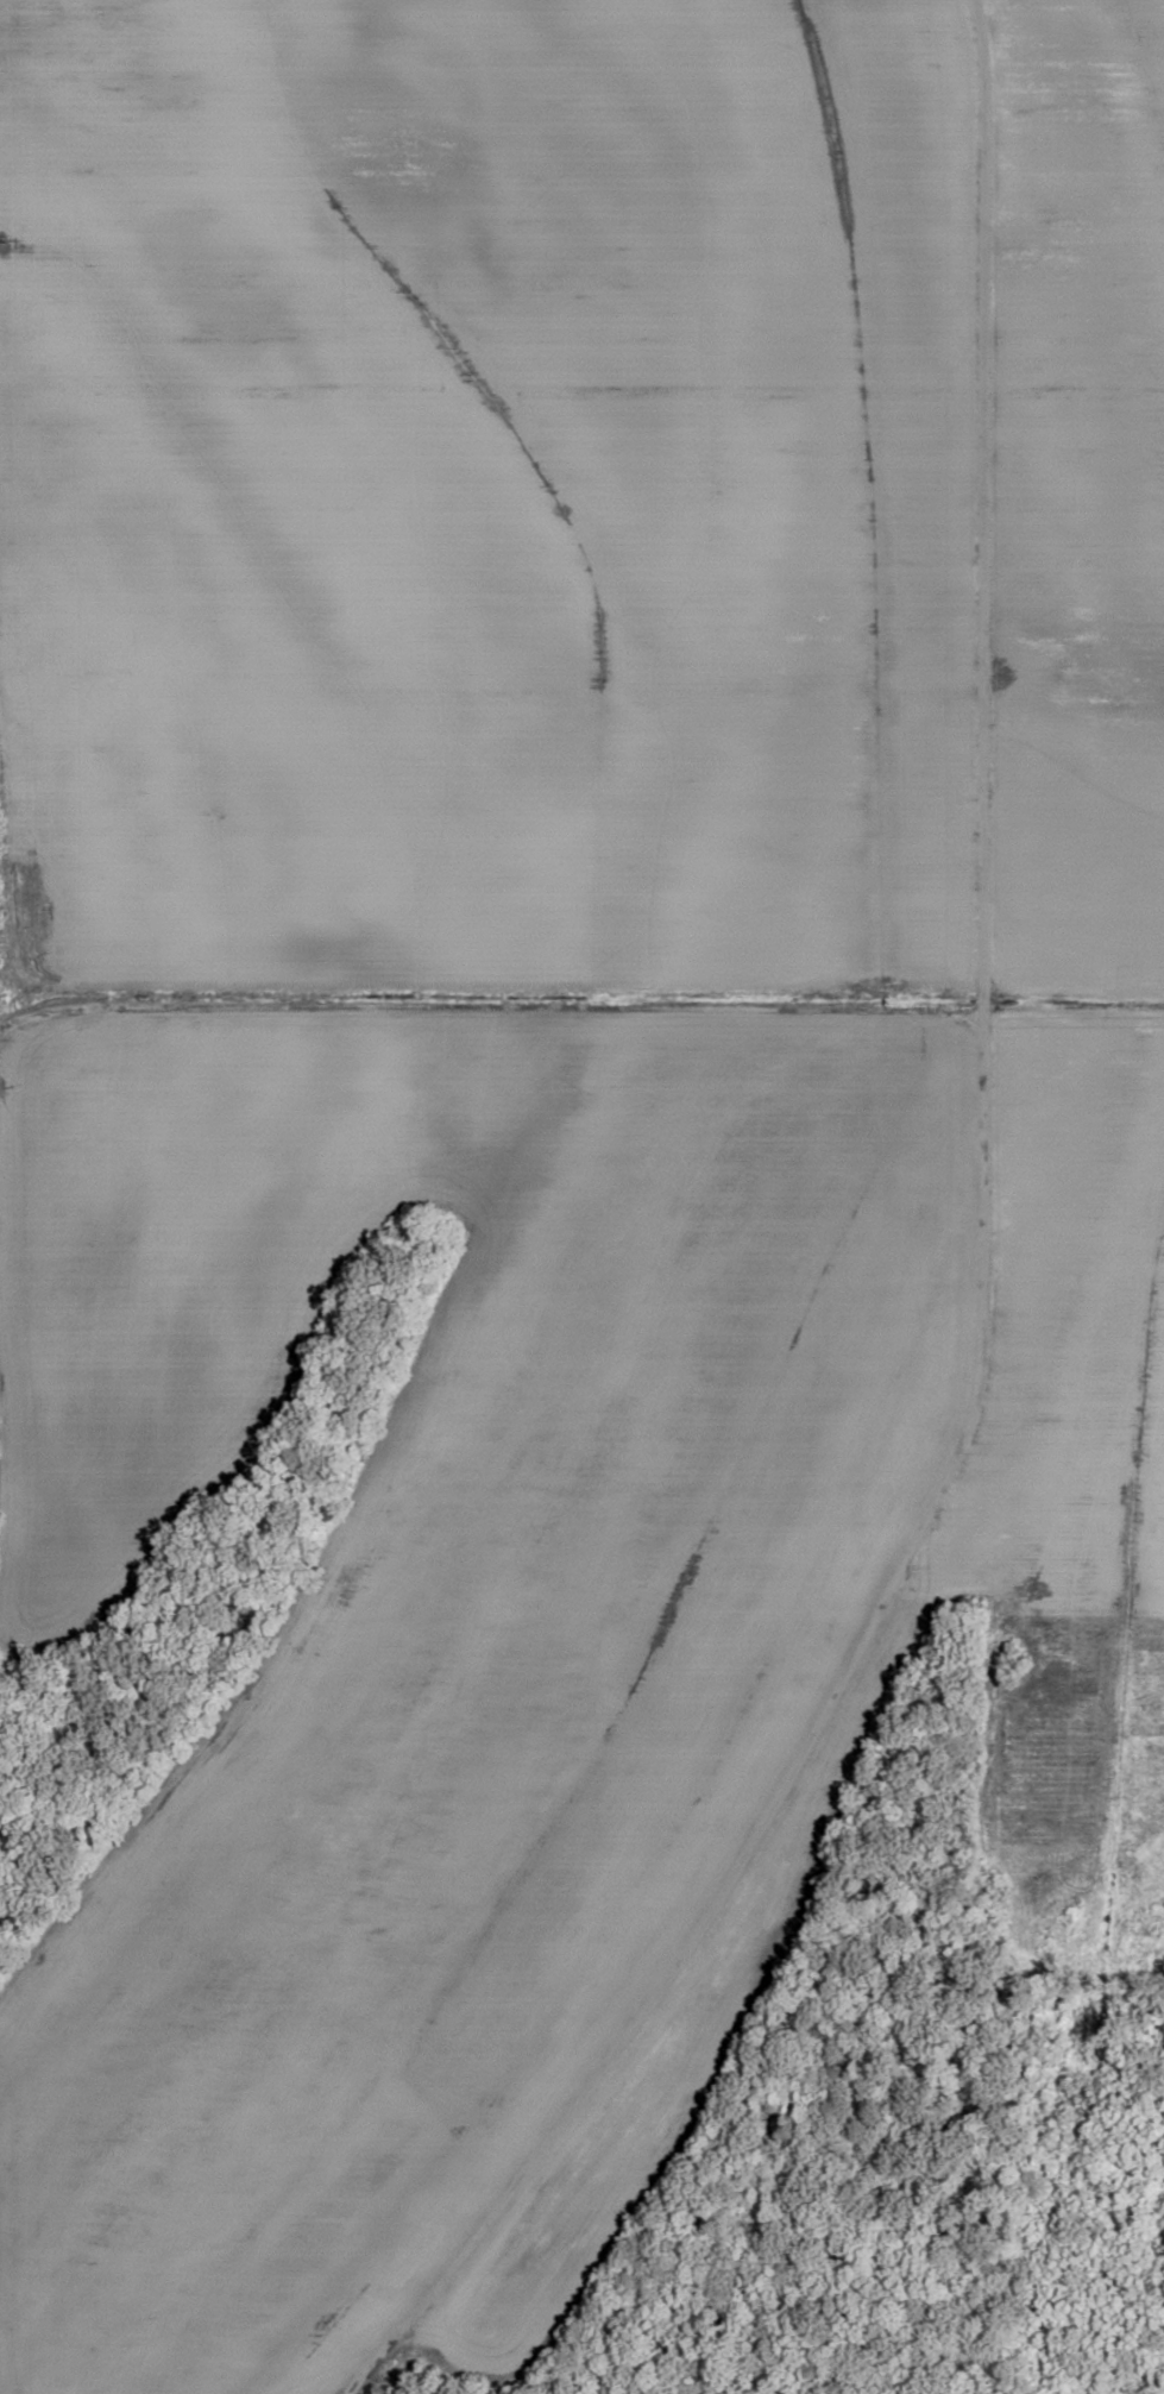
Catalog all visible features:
road: (490, 1011)
road: (979, 1287)

